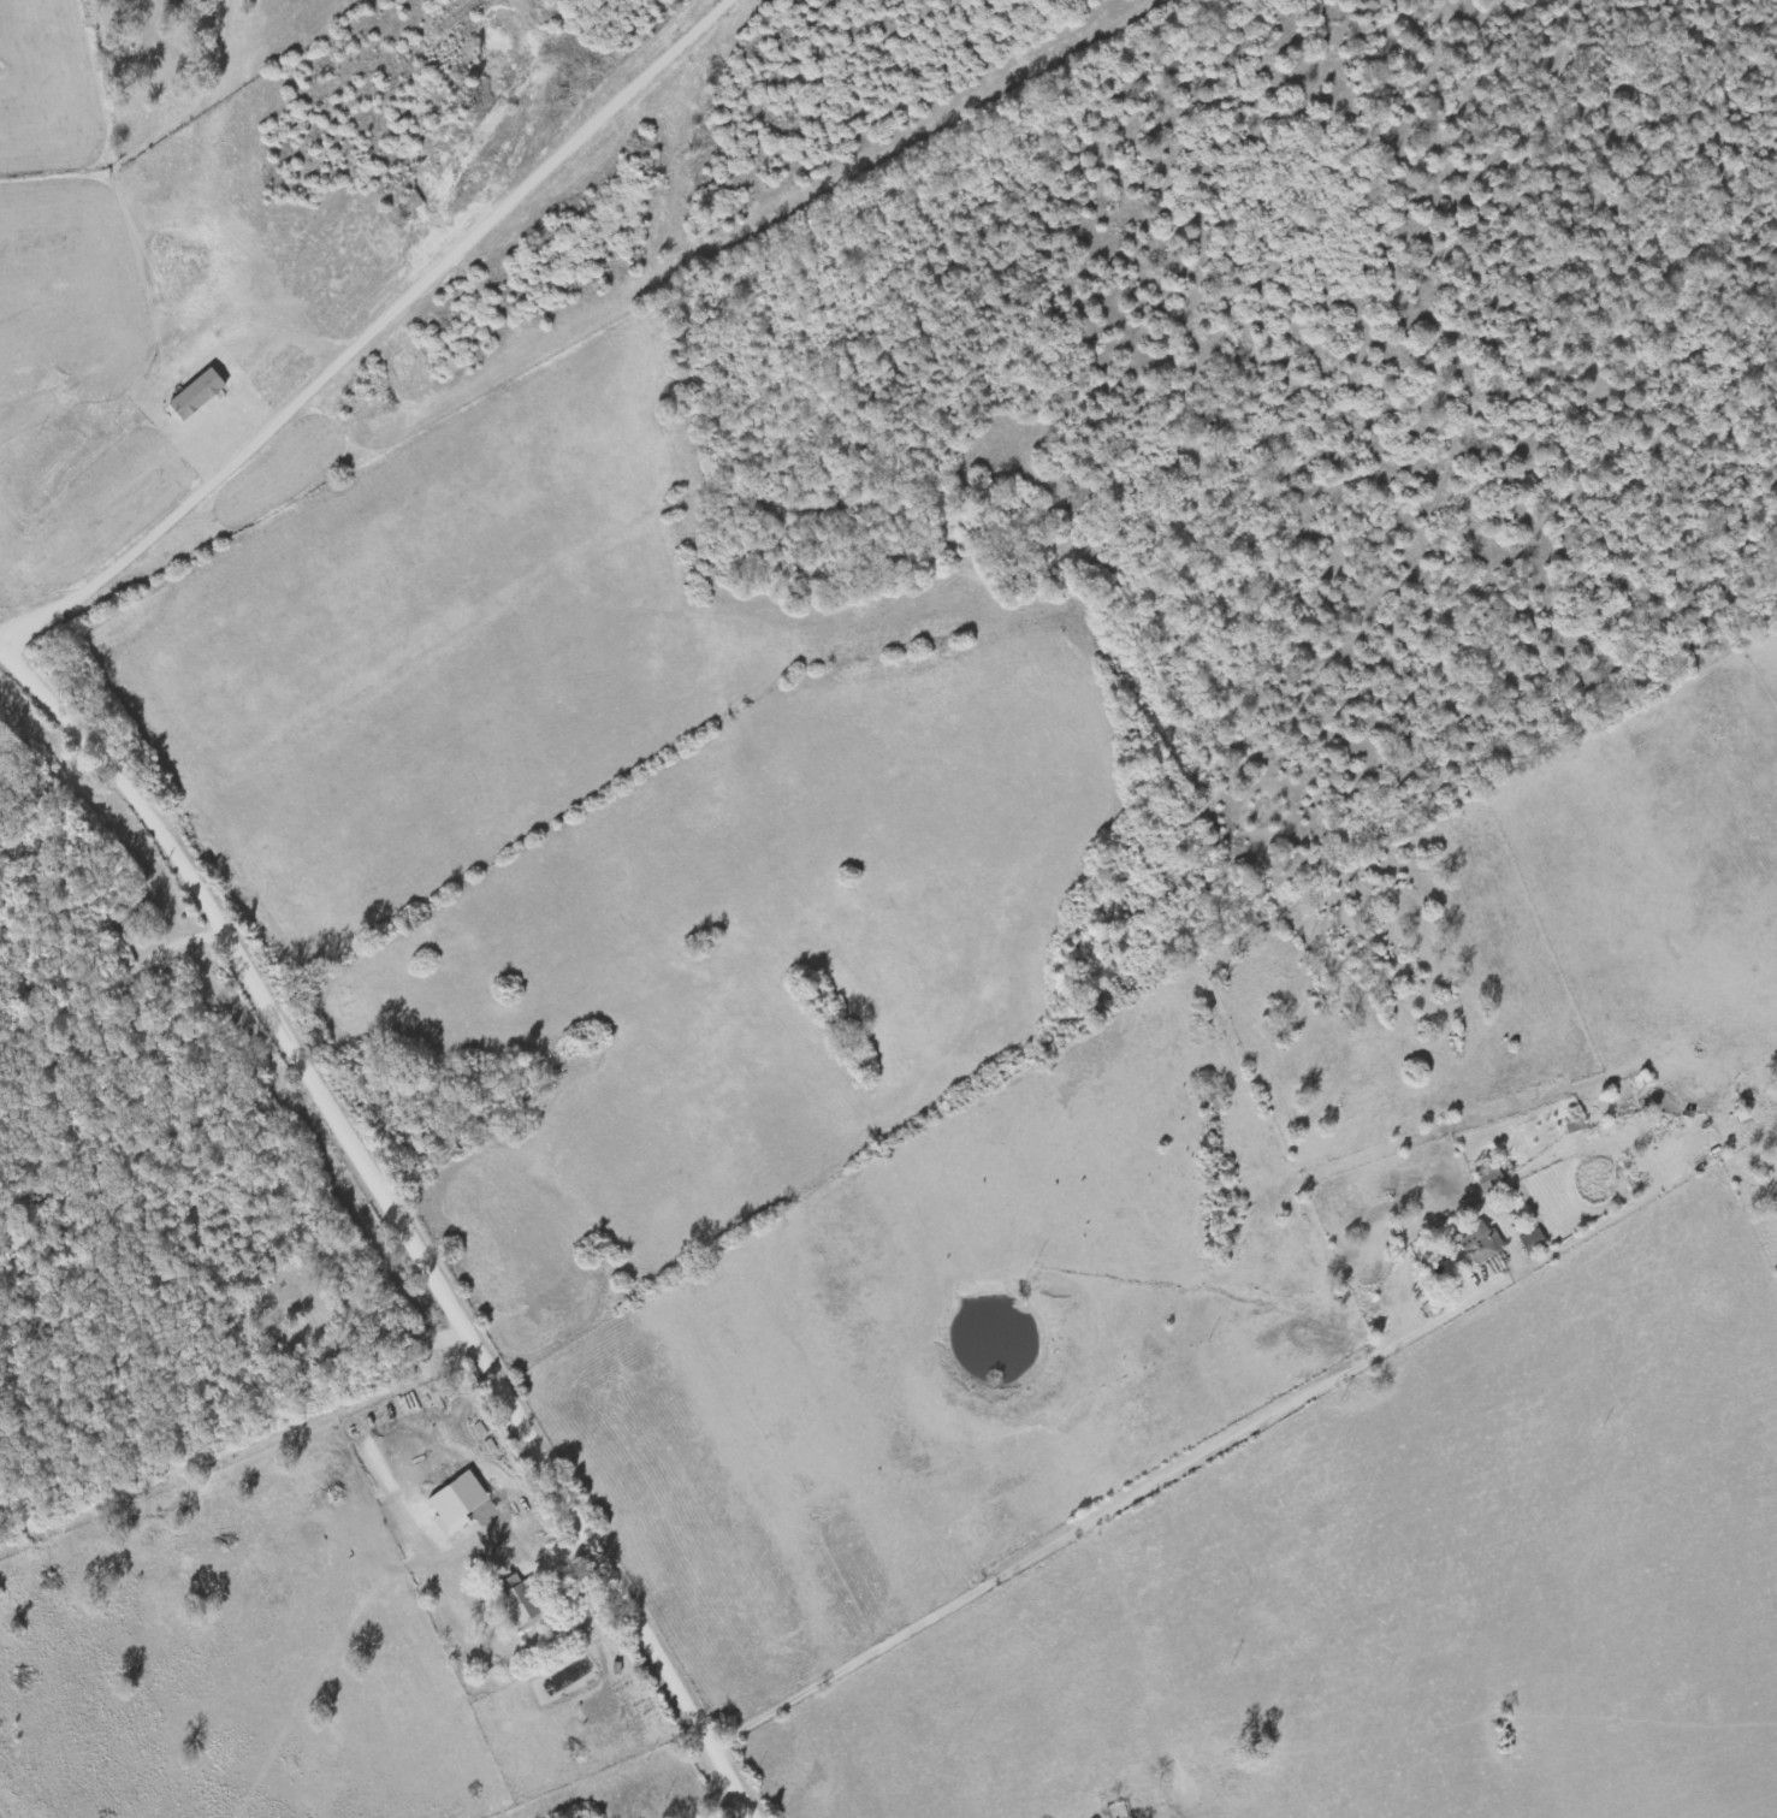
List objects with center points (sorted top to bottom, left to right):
building: (178, 6)
building: (202, 395)
road: (829, 611)
building: (136, 916)
road: (389, 1222)
building: (1479, 1243)
building: (1532, 1244)
building: (522, 1603)

